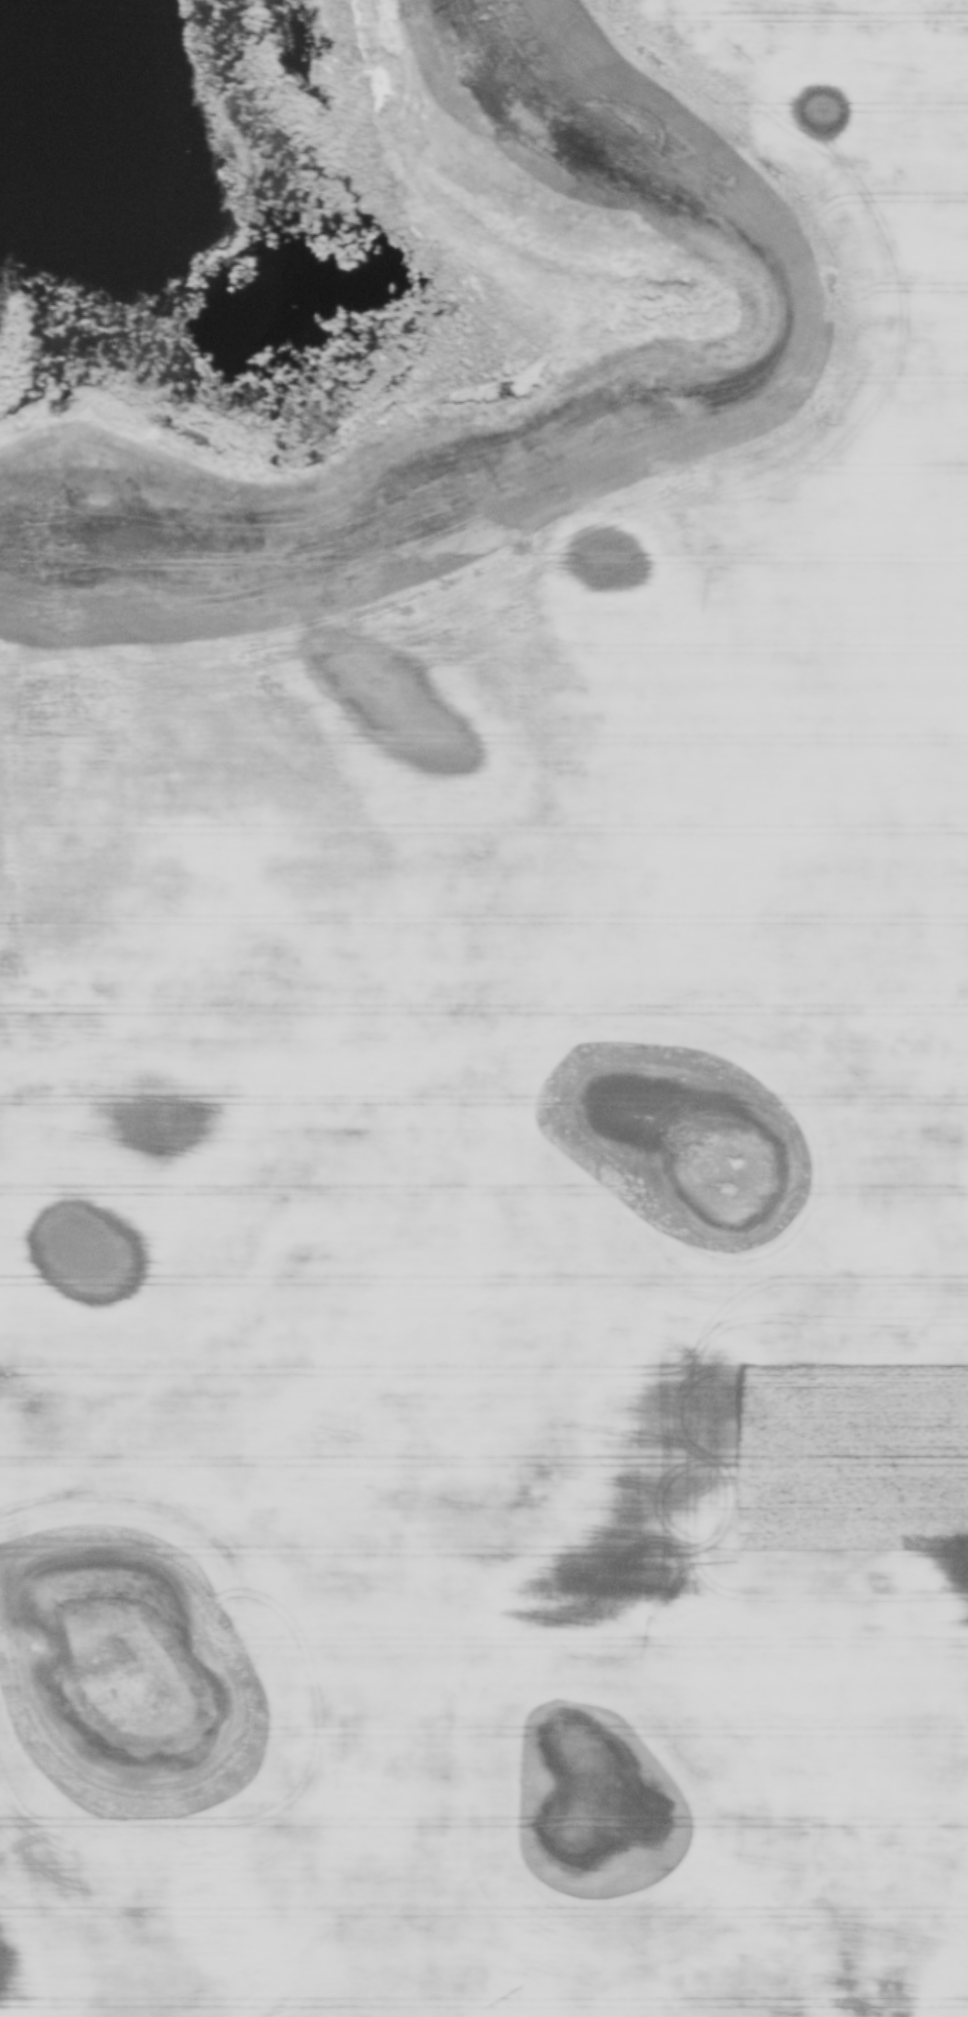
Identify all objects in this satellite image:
road: (484, 1624)

